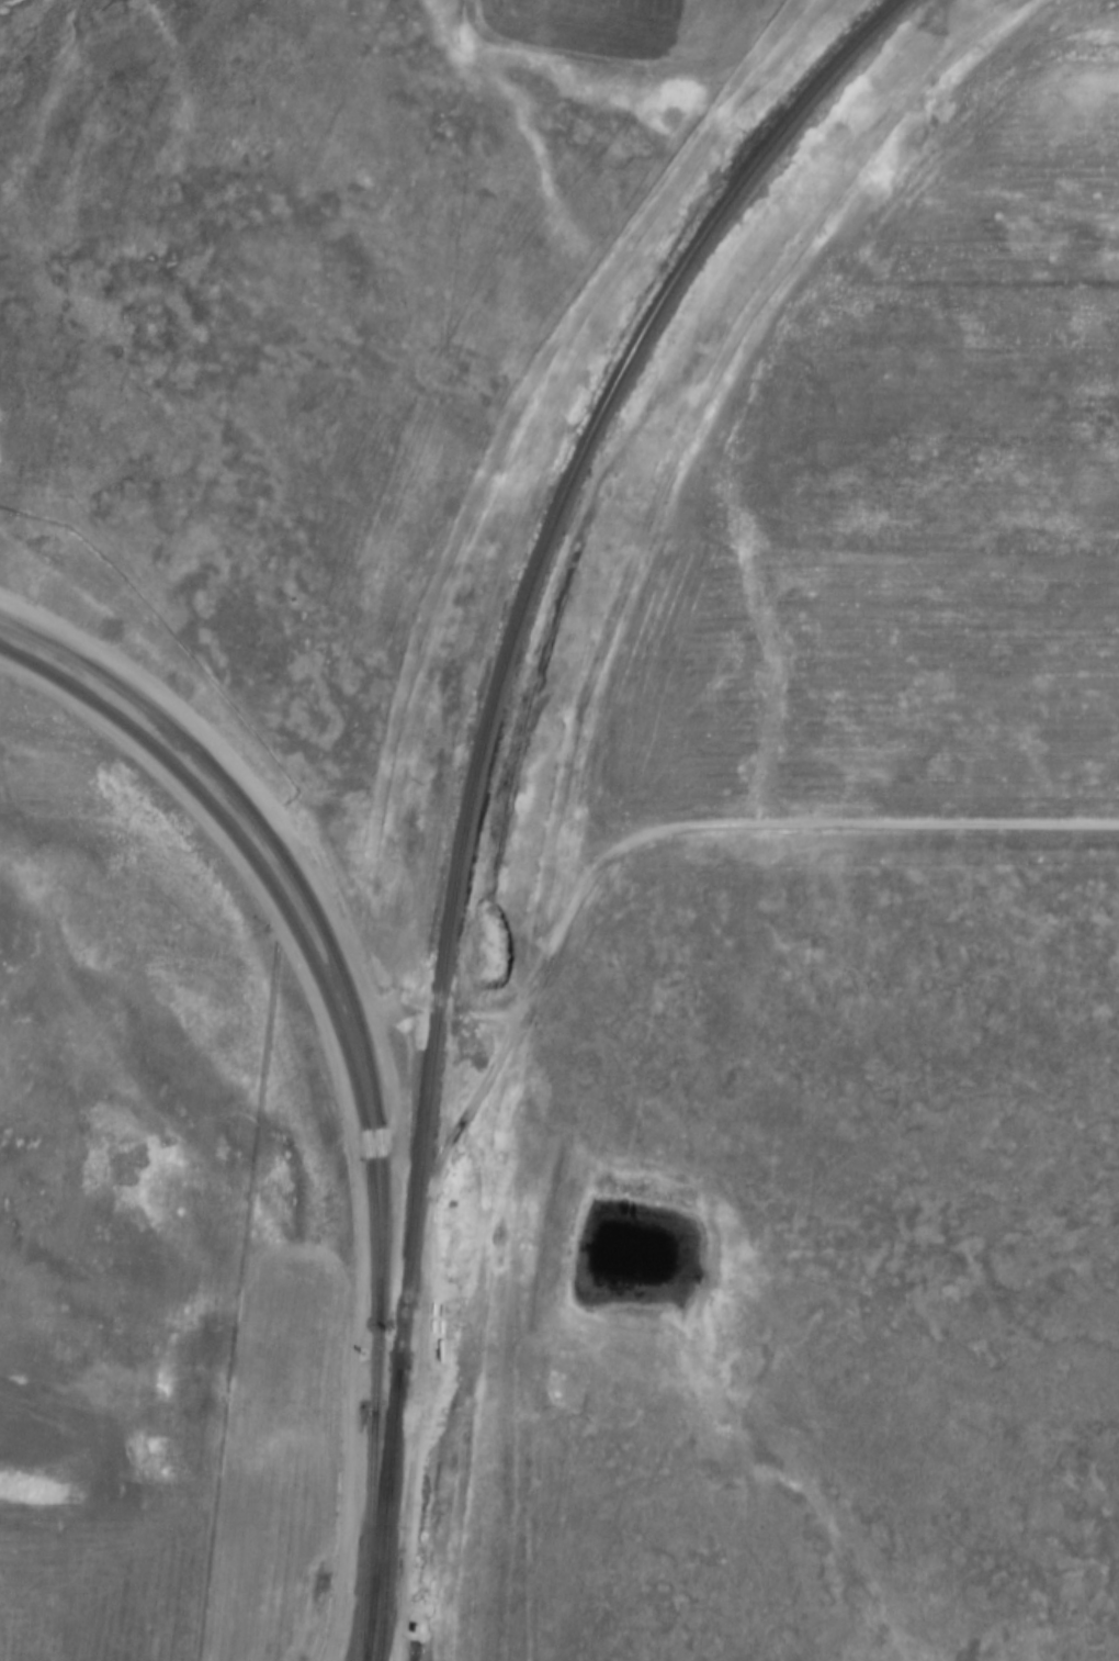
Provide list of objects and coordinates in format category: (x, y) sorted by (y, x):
railway: (475, 774)
road: (746, 832)
road: (267, 927)
road: (434, 1321)

